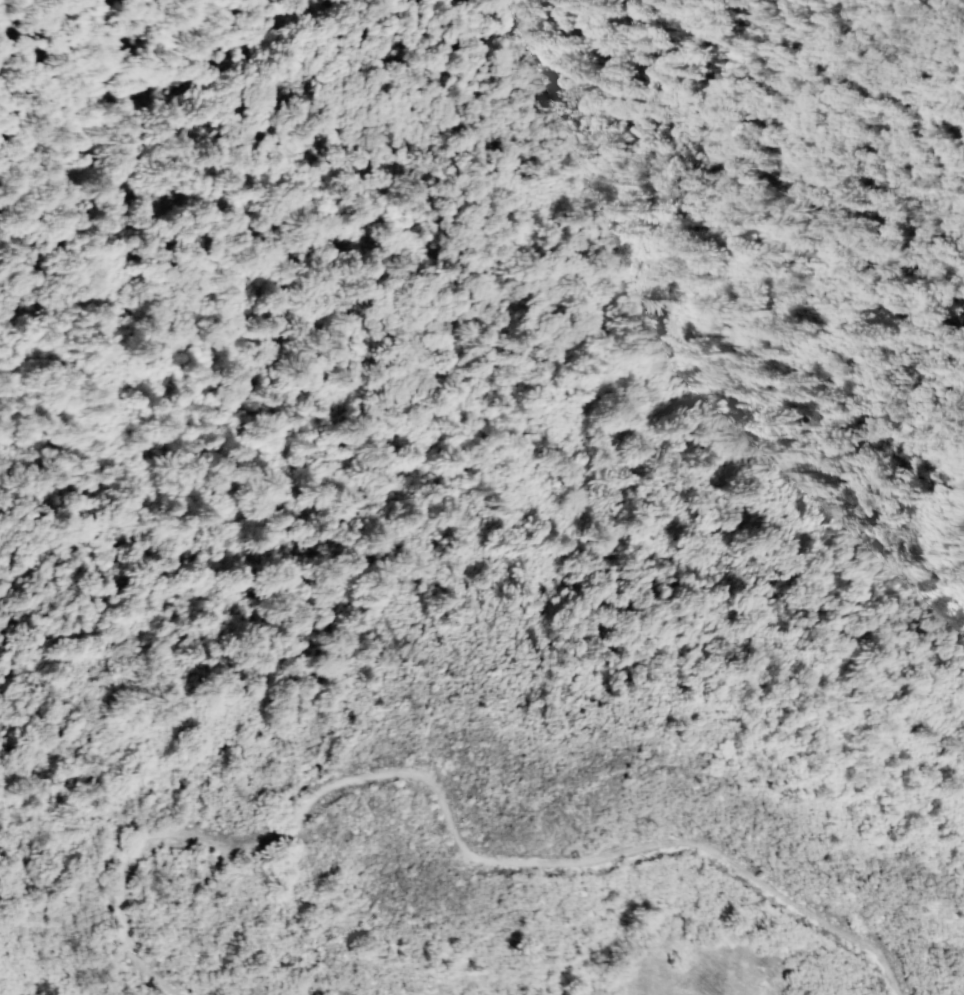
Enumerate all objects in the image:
road: (137, 535)
road: (608, 780)
road: (443, 812)

